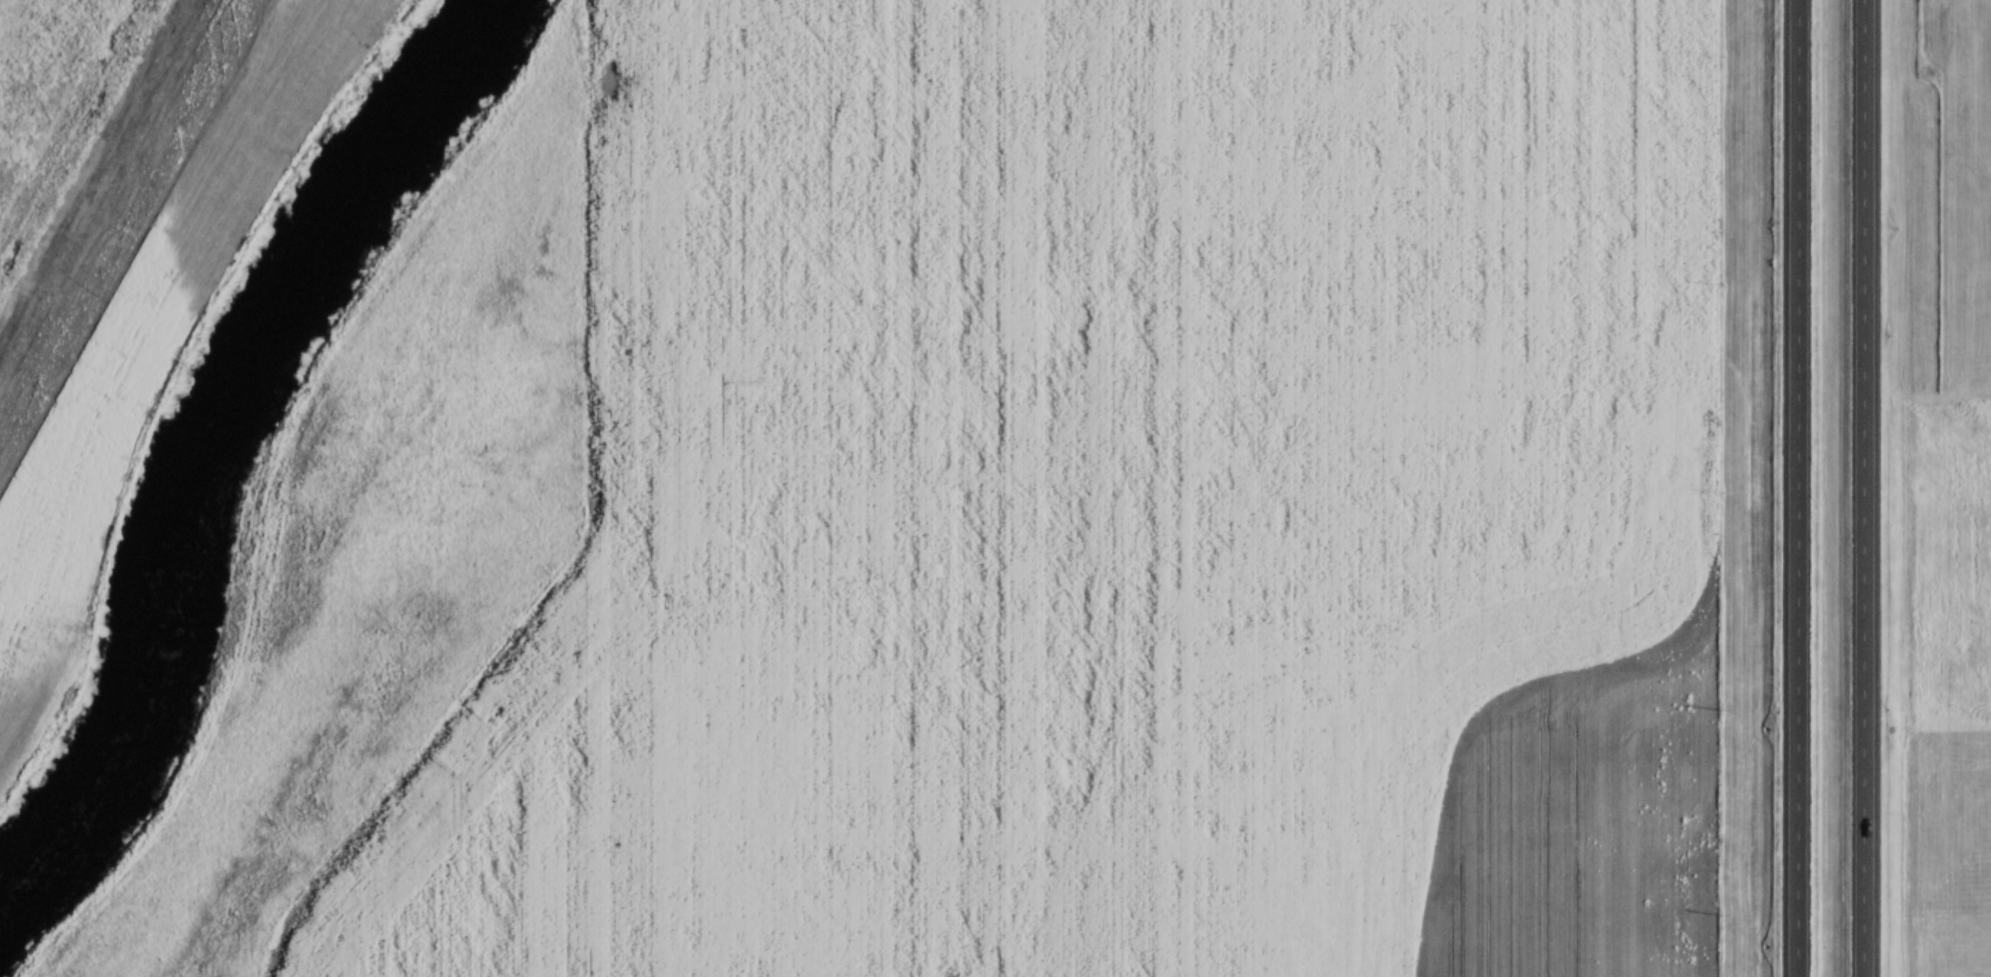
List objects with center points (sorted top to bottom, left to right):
river: (212, 429)
road: (1795, 488)
road: (1862, 488)

